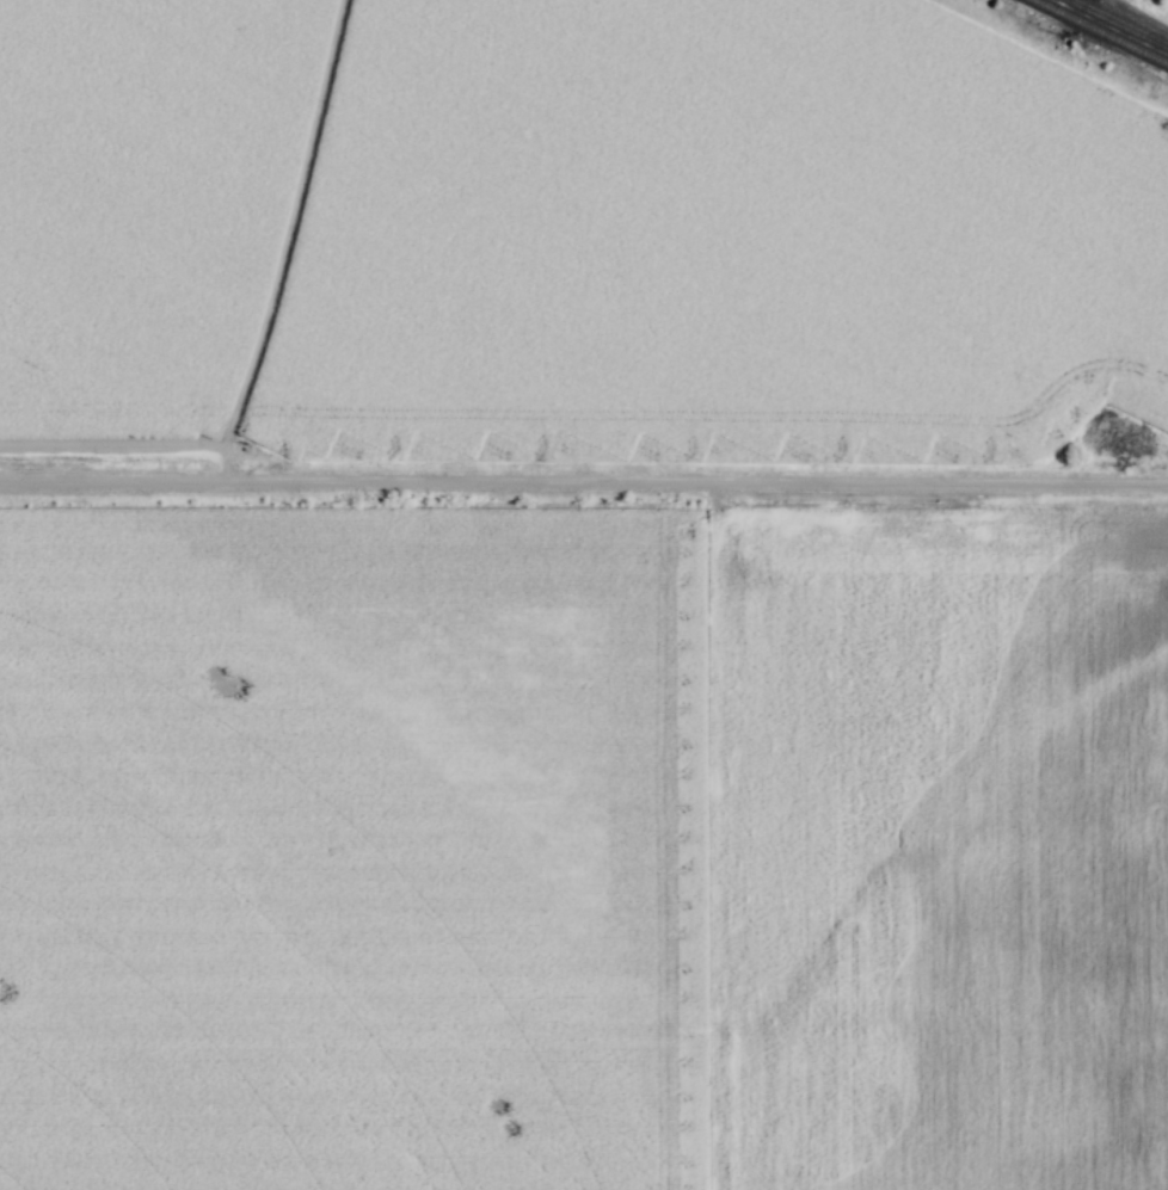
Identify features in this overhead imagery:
railway: (1119, 23)
railway: (1100, 31)
crop: (566, 224)
road: (584, 486)

